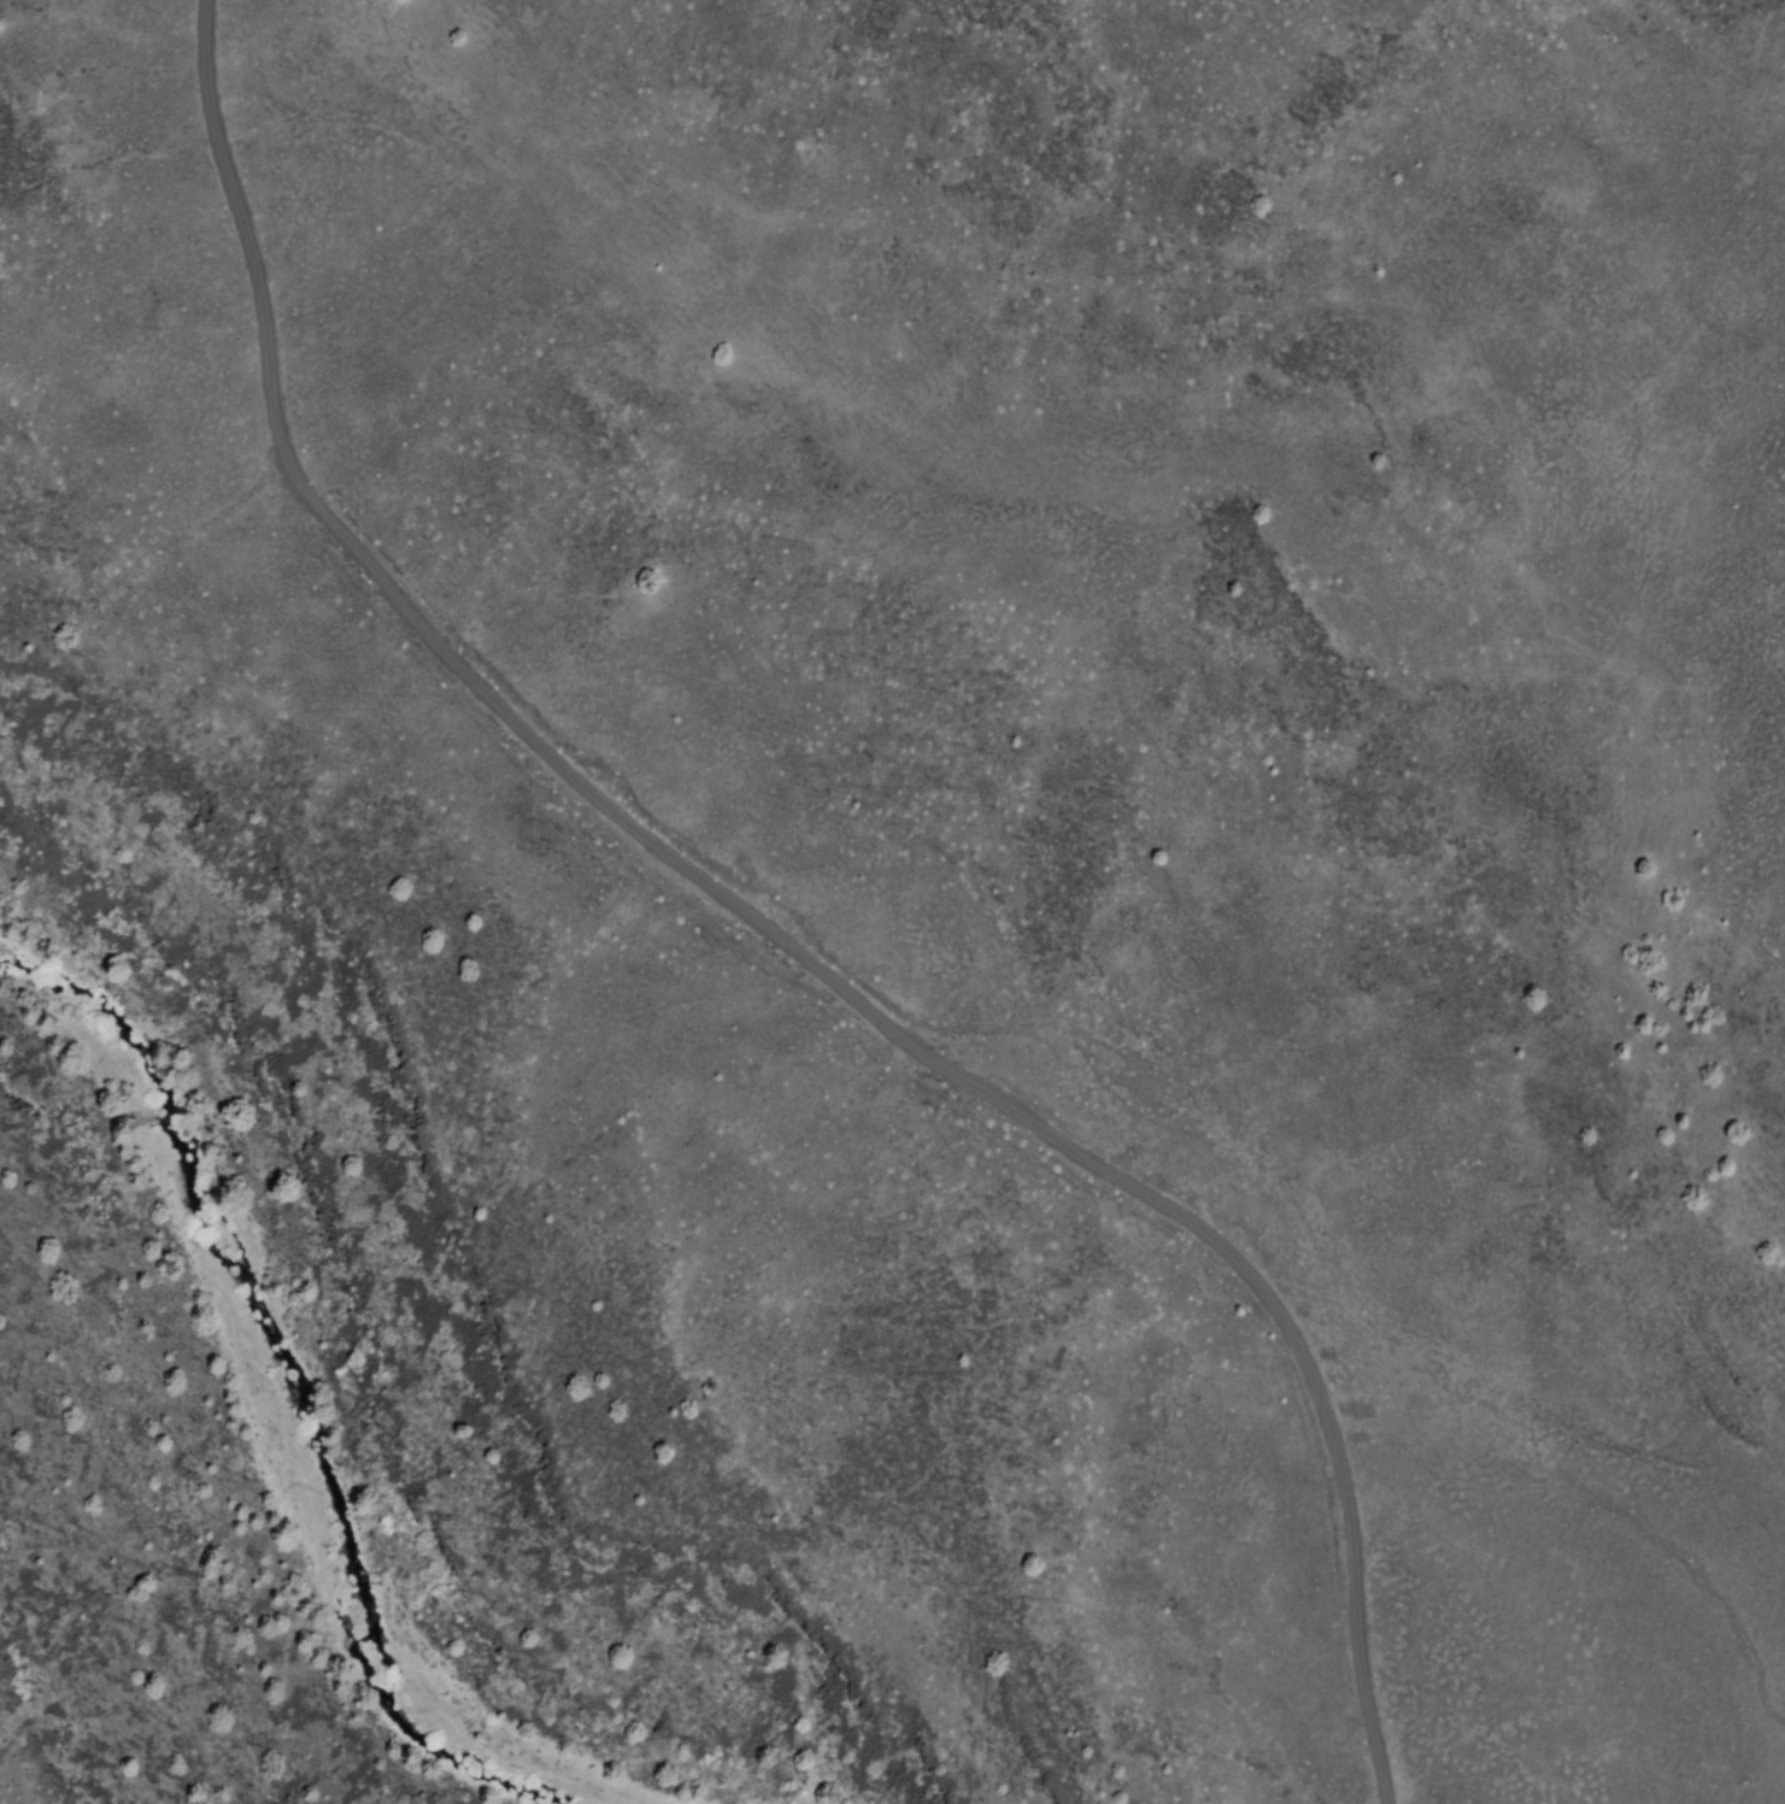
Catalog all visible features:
road: (779, 933)

